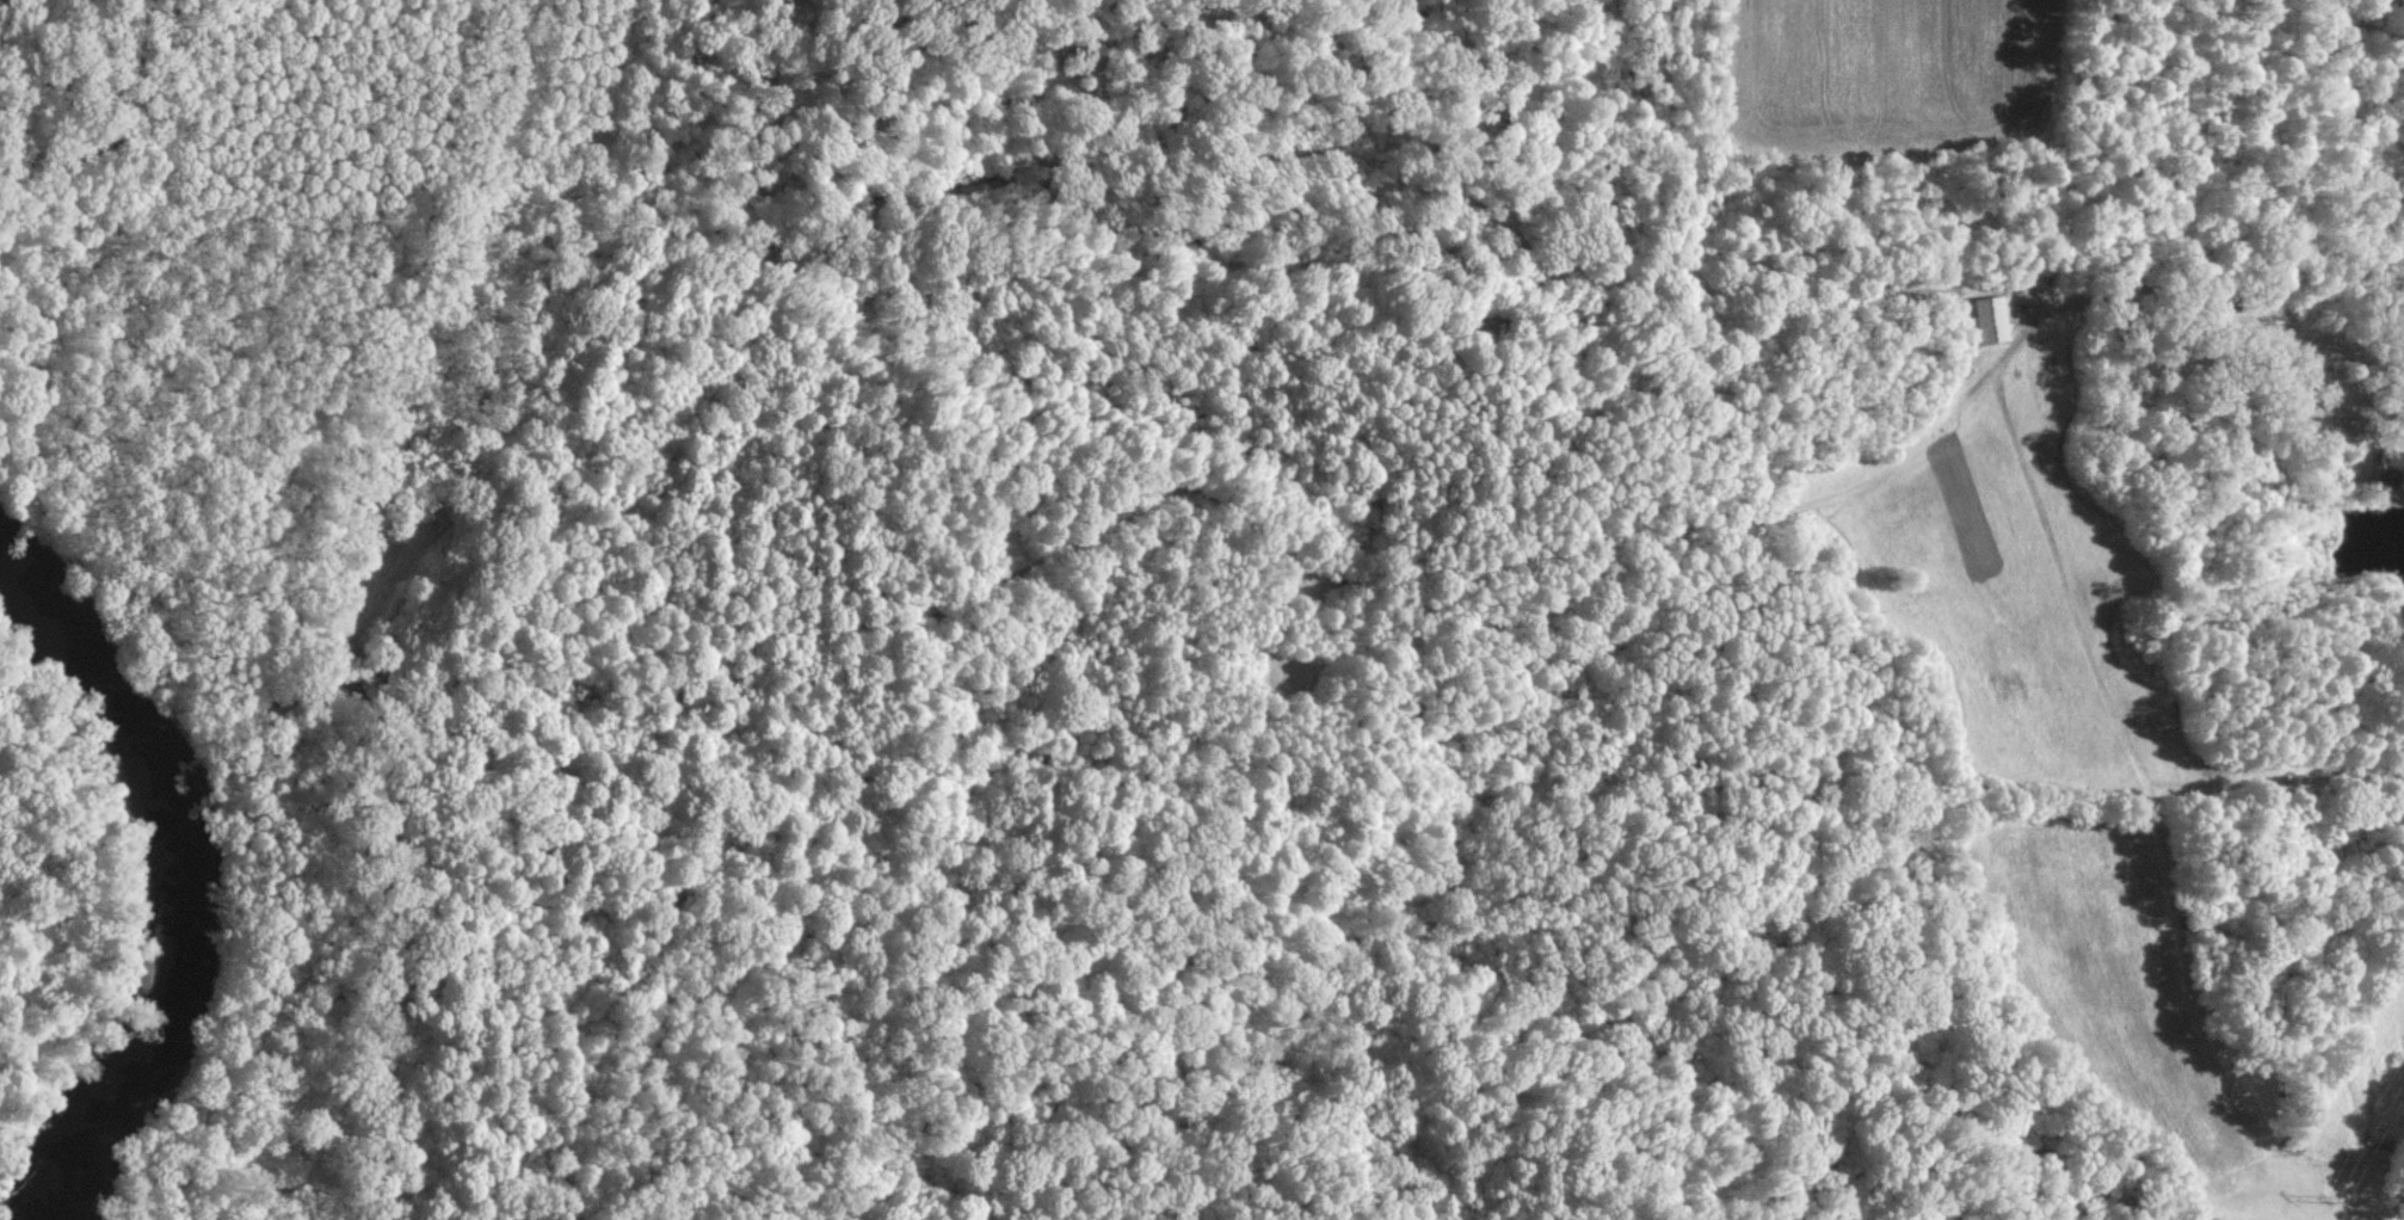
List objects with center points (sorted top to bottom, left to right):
building: (1989, 319)
road: (1936, 347)
building: (2387, 457)
river: (178, 887)
power tower: (2330, 1197)

